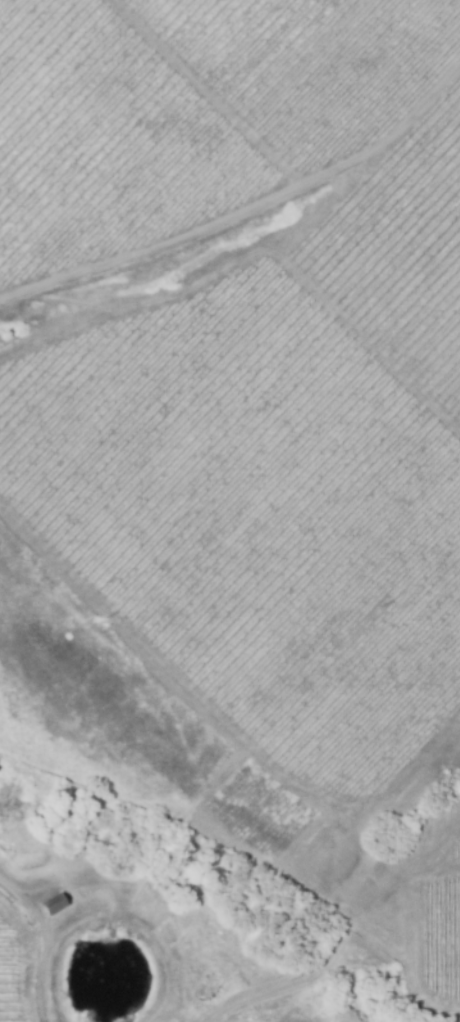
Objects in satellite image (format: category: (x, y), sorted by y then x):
crop: (316, 62)
crop: (104, 140)
crop: (404, 249)
crop: (257, 514)
crop: (458, 852)
building: (53, 907)
crop: (442, 932)
crop: (5, 979)

